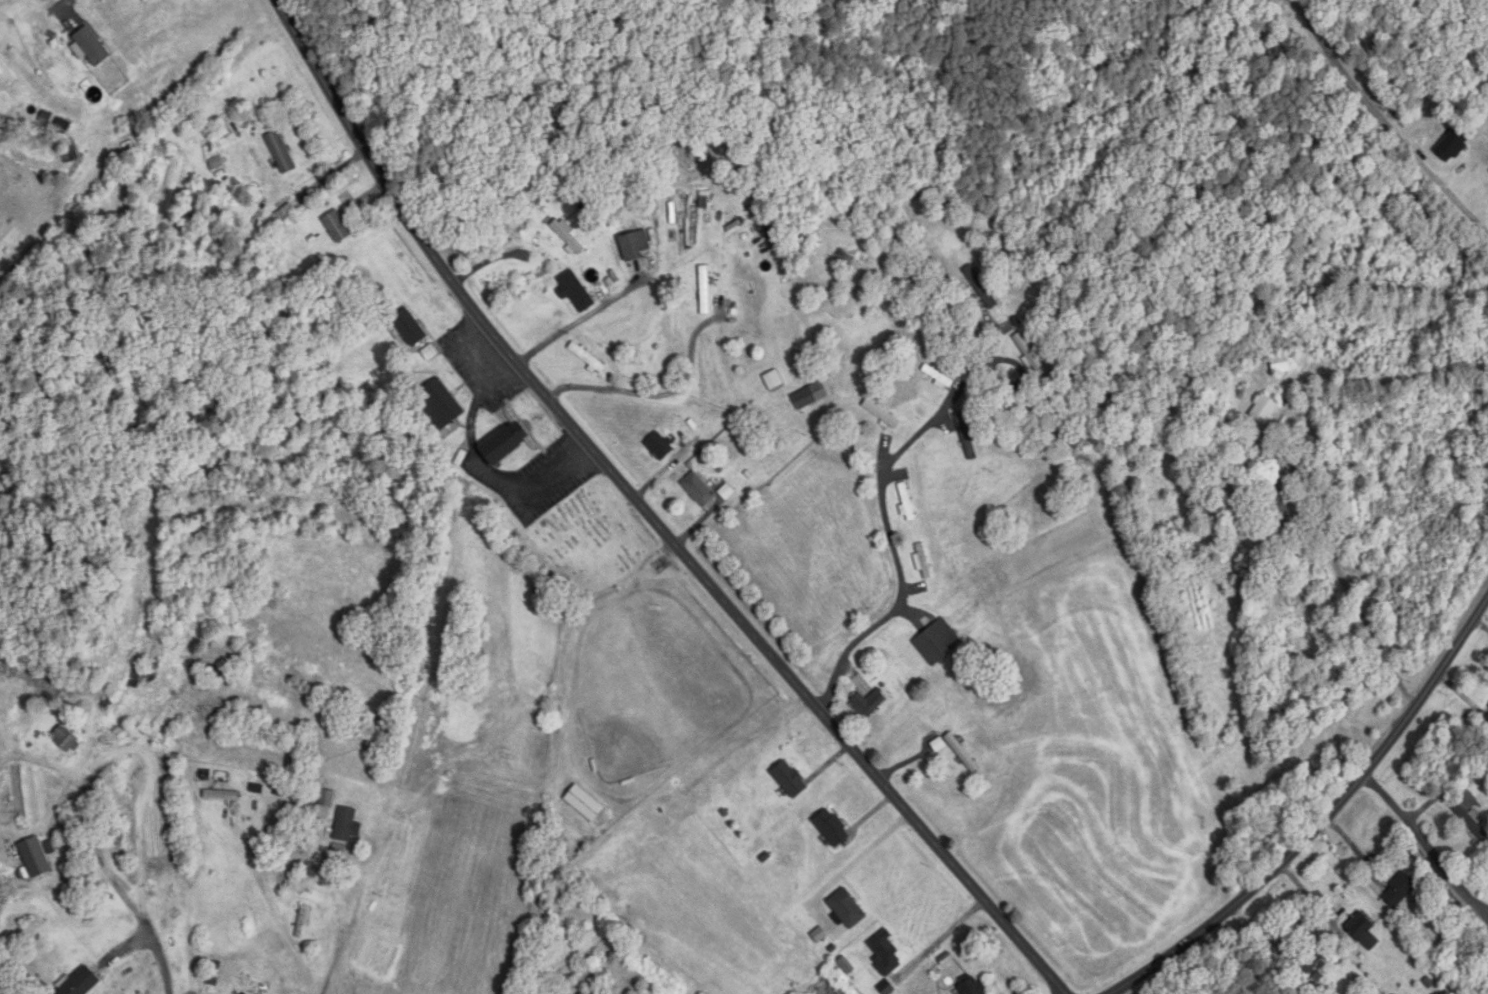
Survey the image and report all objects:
road: (60, 11)
road: (1383, 120)
building: (1436, 135)
road: (152, 147)
building: (281, 153)
building: (70, 156)
building: (337, 228)
building: (567, 237)
building: (635, 247)
building: (705, 290)
building: (576, 292)
road: (582, 314)
building: (410, 328)
building: (587, 358)
building: (1285, 363)
building: (938, 377)
building: (774, 381)
road: (653, 389)
building: (813, 395)
building: (441, 405)
building: (1265, 410)
building: (881, 414)
building: (504, 444)
building: (660, 447)
building: (699, 490)
building: (907, 503)
road: (648, 514)
building: (1279, 516)
road: (886, 518)
park: (585, 540)
building: (923, 562)
road: (1348, 588)
building: (938, 642)
building: (210, 669)
building: (148, 680)
building: (869, 703)
building: (66, 741)
building: (964, 755)
building: (790, 779)
road: (1441, 791)
building: (221, 796)
building: (328, 798)
building: (585, 804)
building: (1472, 823)
road: (1328, 824)
building: (347, 825)
building: (832, 827)
road: (156, 841)
road: (1428, 841)
building: (35, 858)
building: (1399, 890)
building: (848, 909)
building: (305, 919)
building: (1360, 926)
road: (346, 929)
building: (886, 953)
building: (1310, 962)
building: (81, 983)
building: (974, 987)
building: (246, 993)

